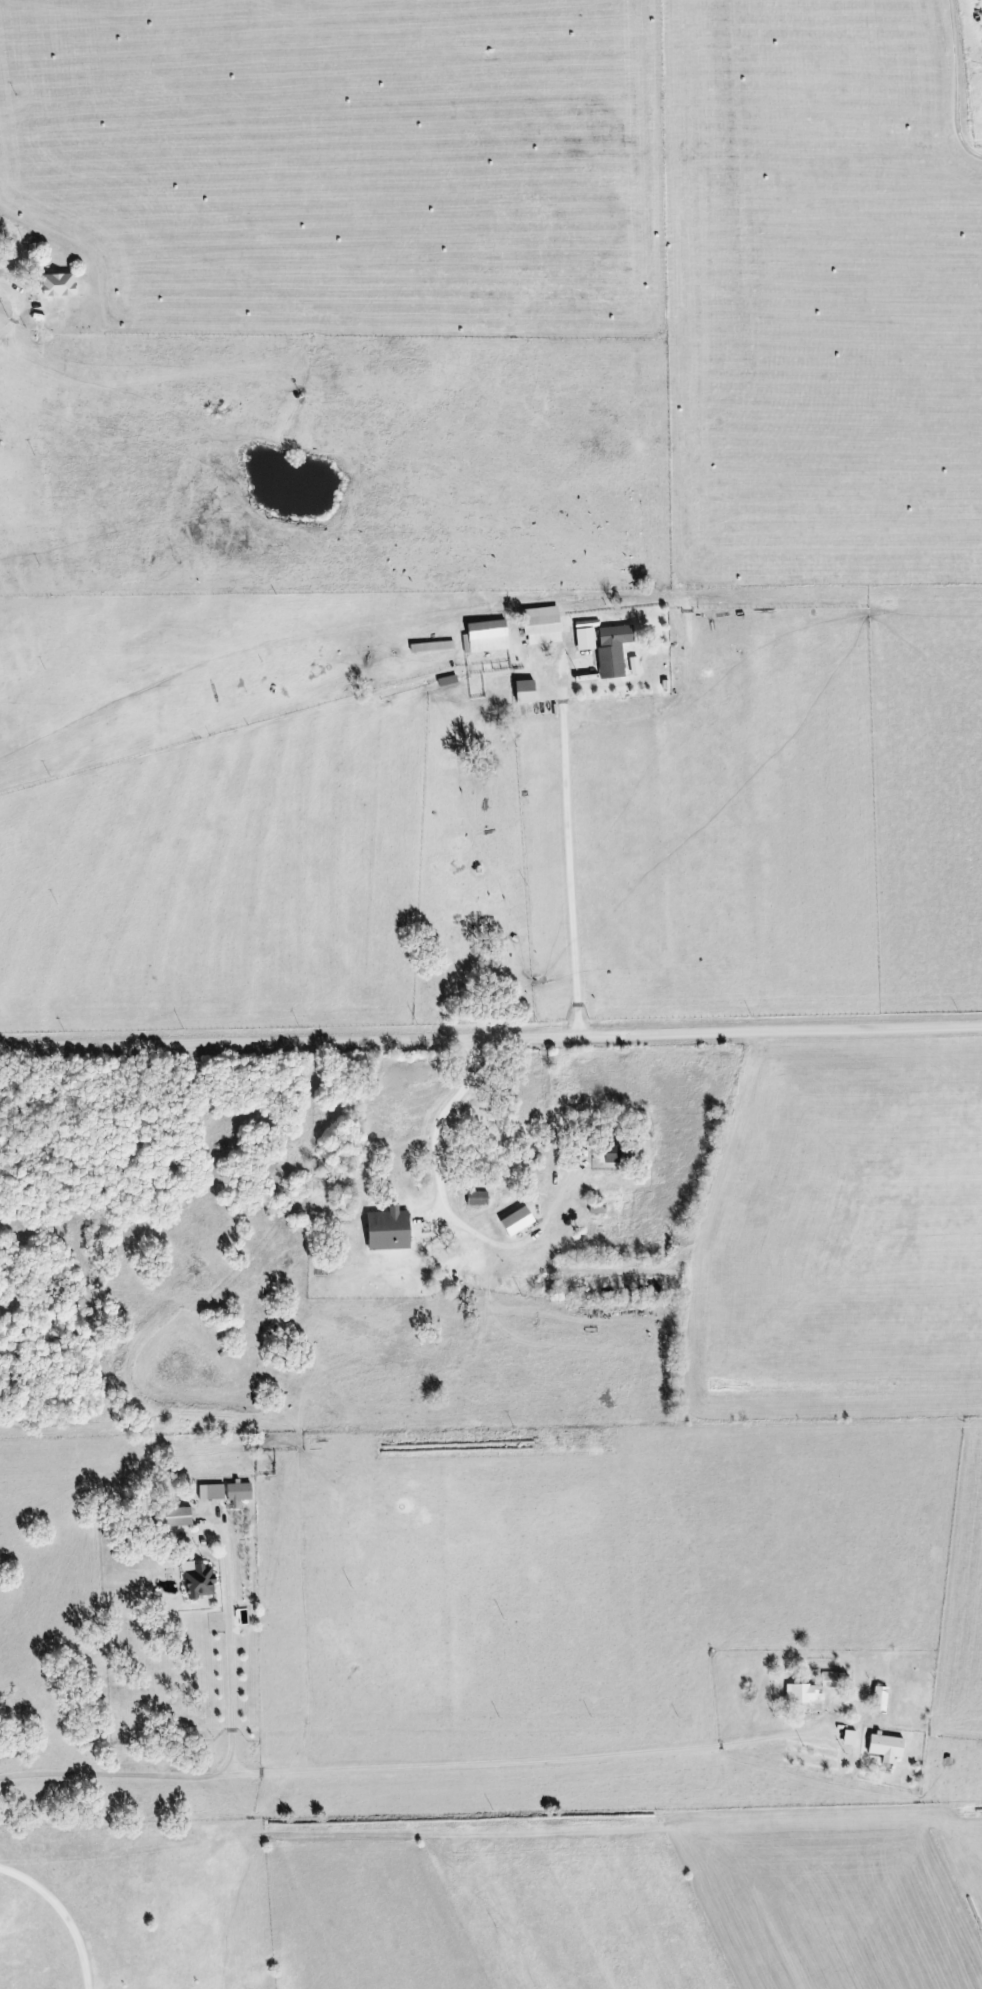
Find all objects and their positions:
building: (60, 285)
building: (541, 625)
building: (485, 637)
building: (585, 638)
building: (613, 649)
building: (635, 665)
building: (526, 691)
road: (578, 849)
road: (491, 1034)
road: (437, 1115)
building: (614, 1153)
building: (478, 1197)
building: (518, 1220)
building: (389, 1228)
building: (212, 1491)
building: (239, 1492)
building: (178, 1516)
building: (200, 1579)
building: (831, 1679)
building: (803, 1692)
building: (880, 1698)
building: (850, 1737)
building: (887, 1746)

